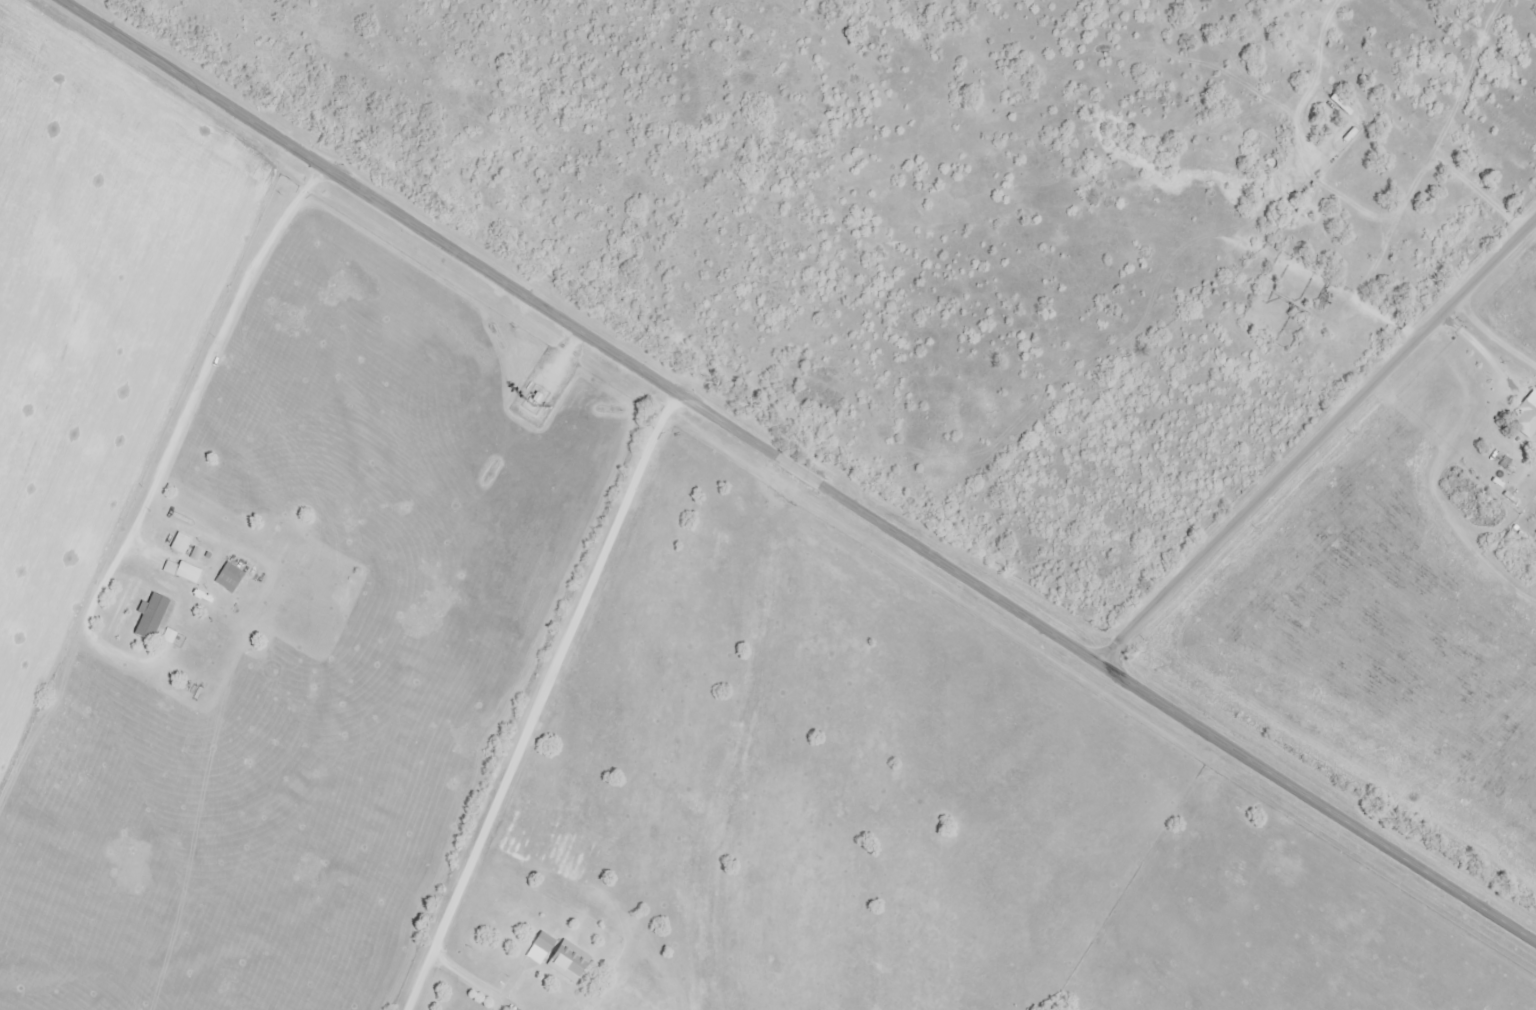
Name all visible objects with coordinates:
road: (1232, 225)
road: (1473, 344)
building: (1526, 416)
road: (1313, 432)
road: (797, 470)
building: (181, 544)
building: (189, 573)
building: (230, 578)
building: (155, 619)
building: (541, 949)
building: (568, 961)

